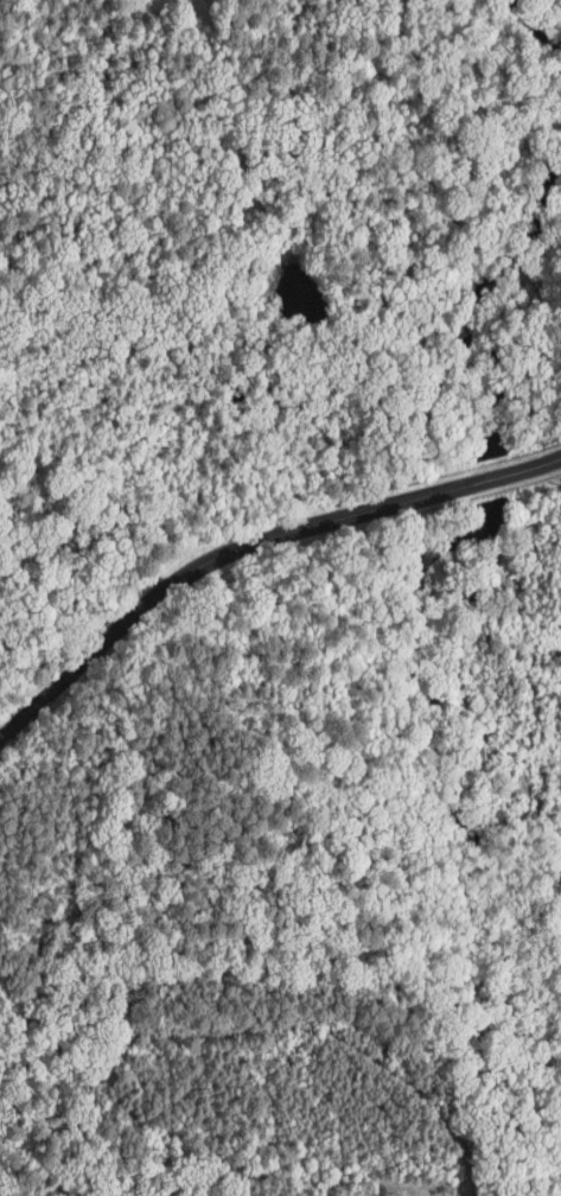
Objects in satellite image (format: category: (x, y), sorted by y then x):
road: (315, 515)
road: (52, 688)

